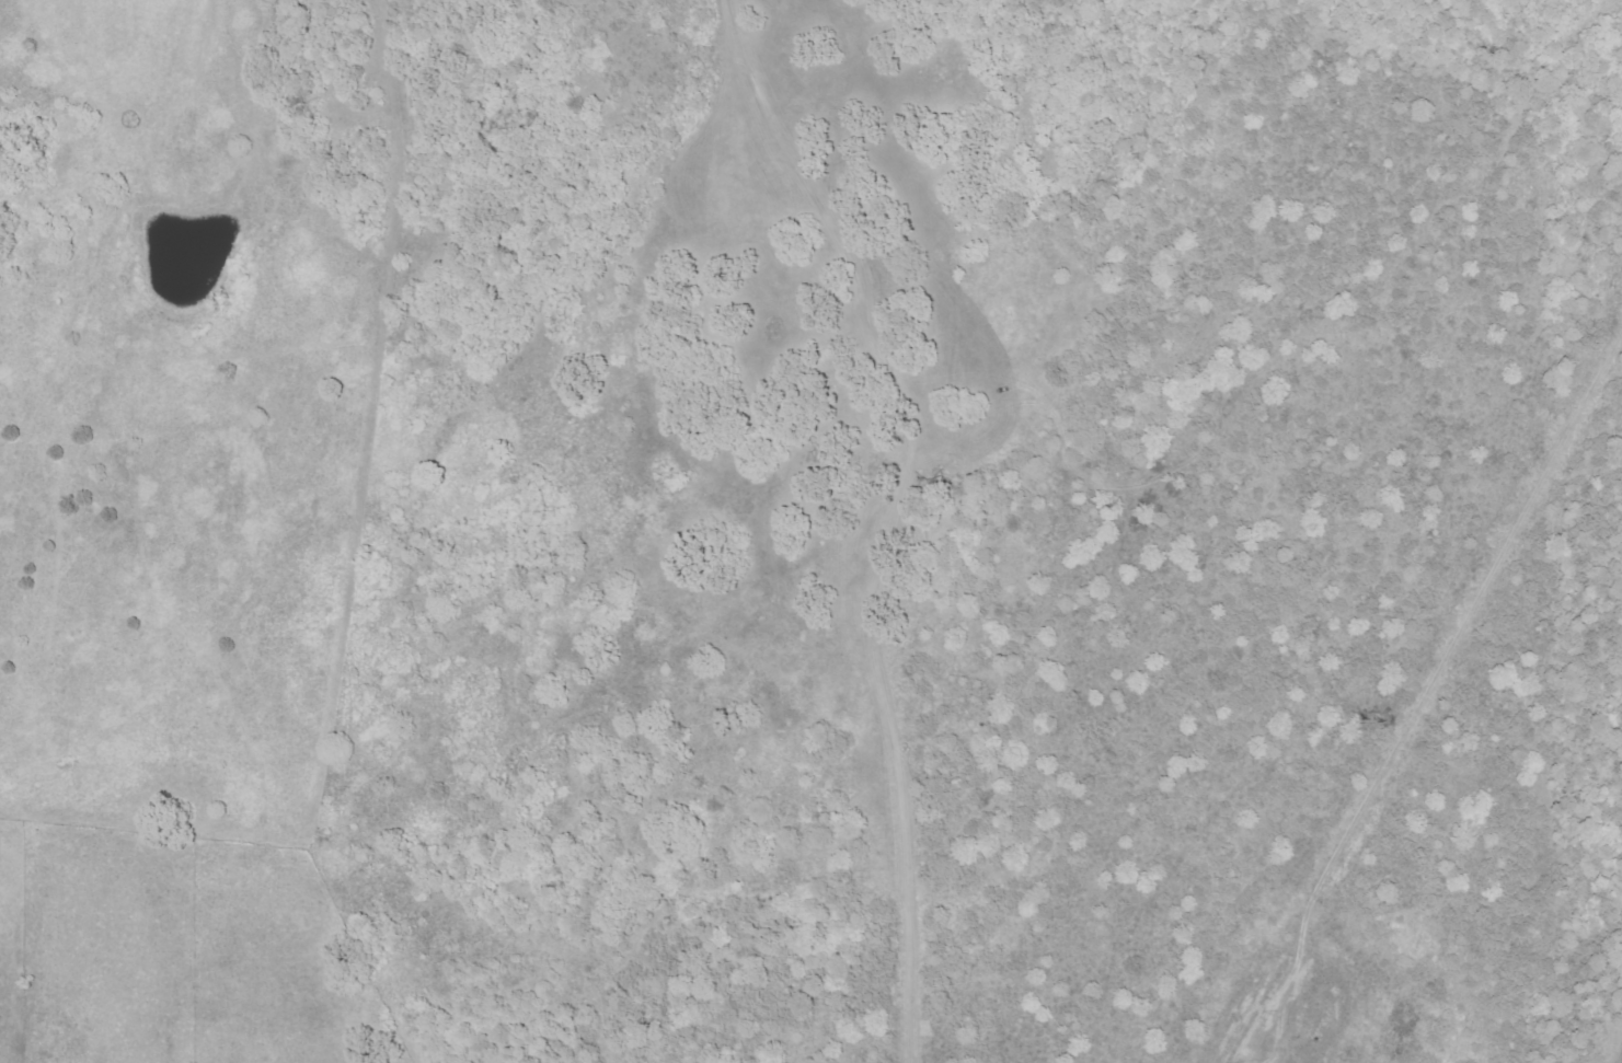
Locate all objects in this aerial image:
road: (894, 425)
park: (947, 497)
road: (1457, 635)

